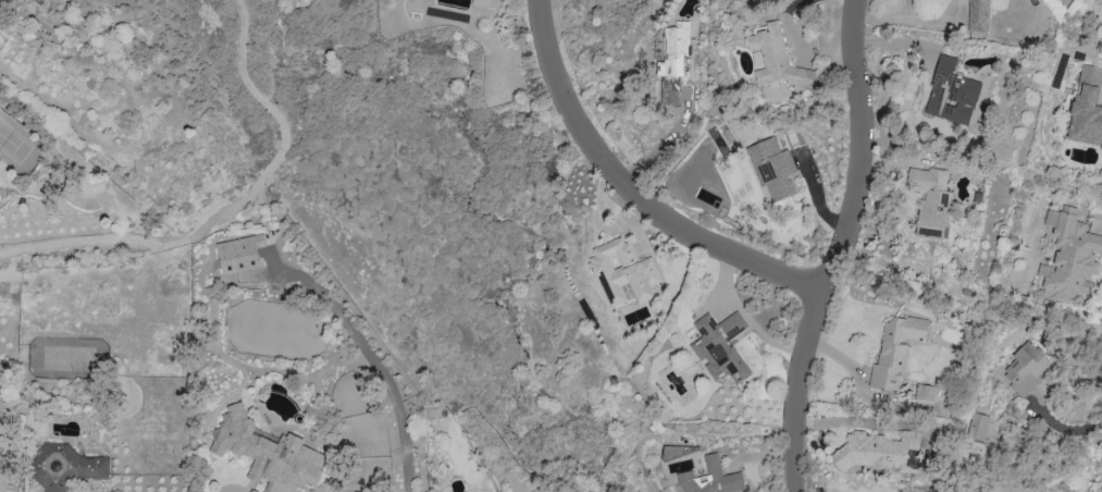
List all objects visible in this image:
building: (978, 15)
road: (908, 20)
building: (776, 59)
building: (672, 61)
building: (951, 94)
building: (1086, 107)
road: (666, 138)
building: (771, 169)
road: (633, 192)
building: (930, 200)
road: (235, 208)
road: (843, 247)
building: (239, 253)
building: (622, 271)
road: (745, 319)
building: (720, 346)
building: (894, 350)
building: (1025, 367)
road: (381, 368)
building: (925, 392)
road: (855, 425)
building: (977, 426)
building: (879, 451)
building: (268, 452)
building: (67, 467)
building: (709, 478)
road: (1098, 480)

